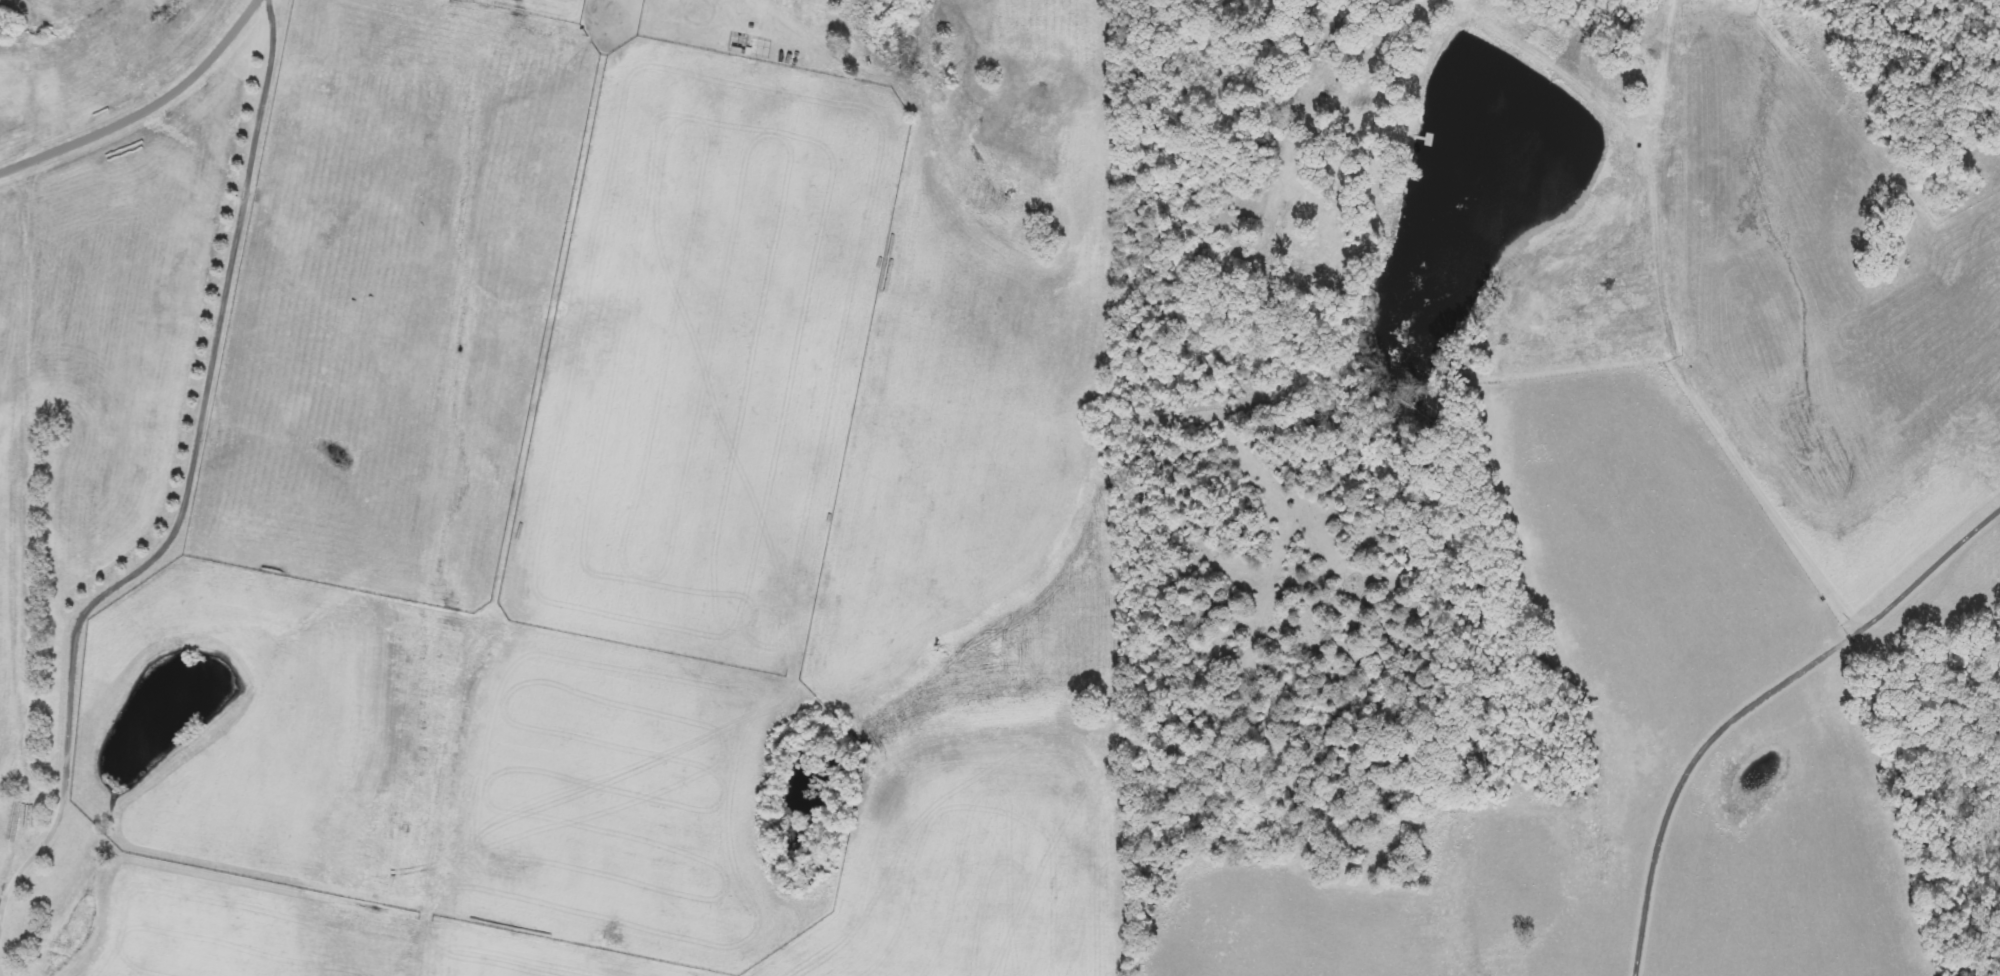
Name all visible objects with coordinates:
road: (142, 105)

